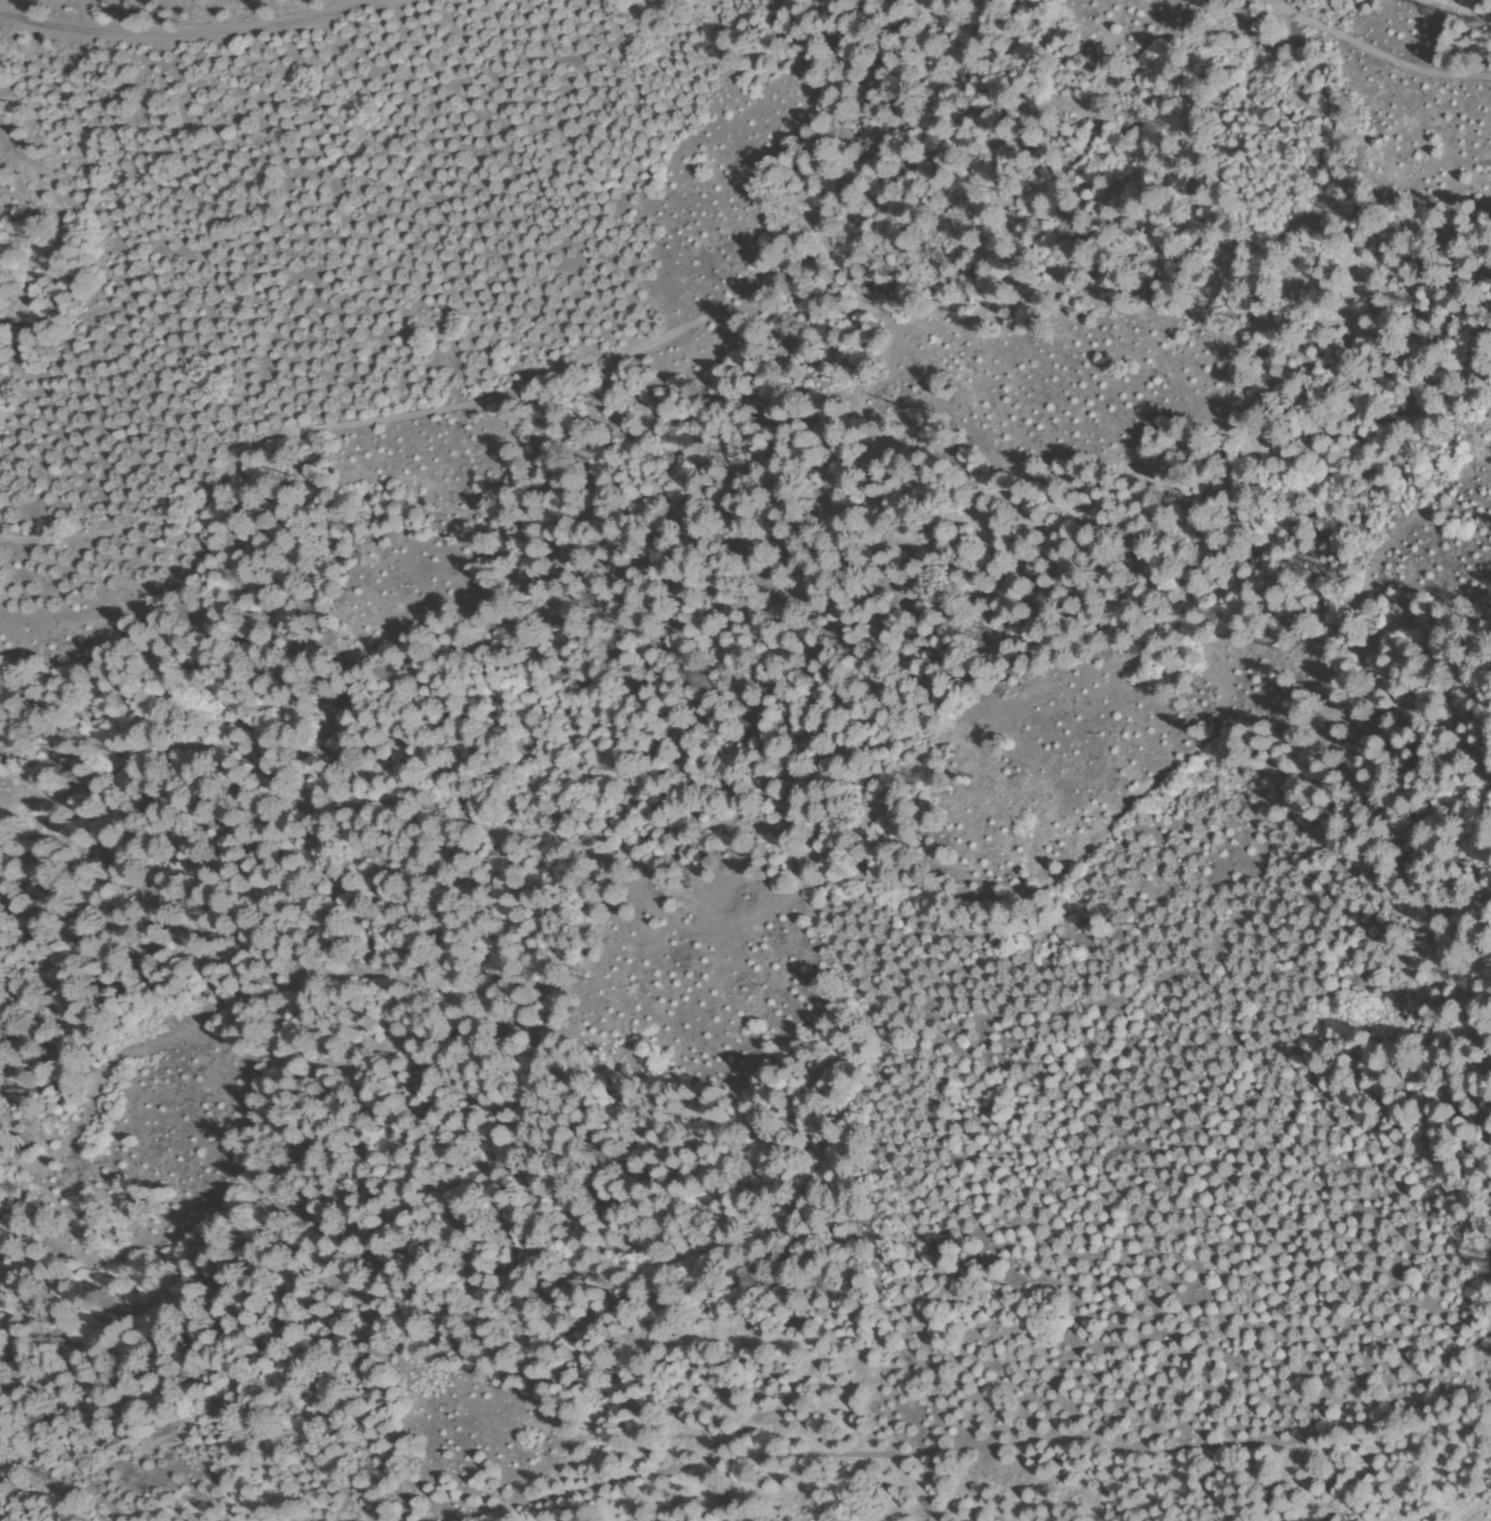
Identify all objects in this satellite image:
road: (181, 35)
road: (1395, 40)
road: (556, 367)
road: (808, 868)
road: (192, 929)
road: (968, 1439)

